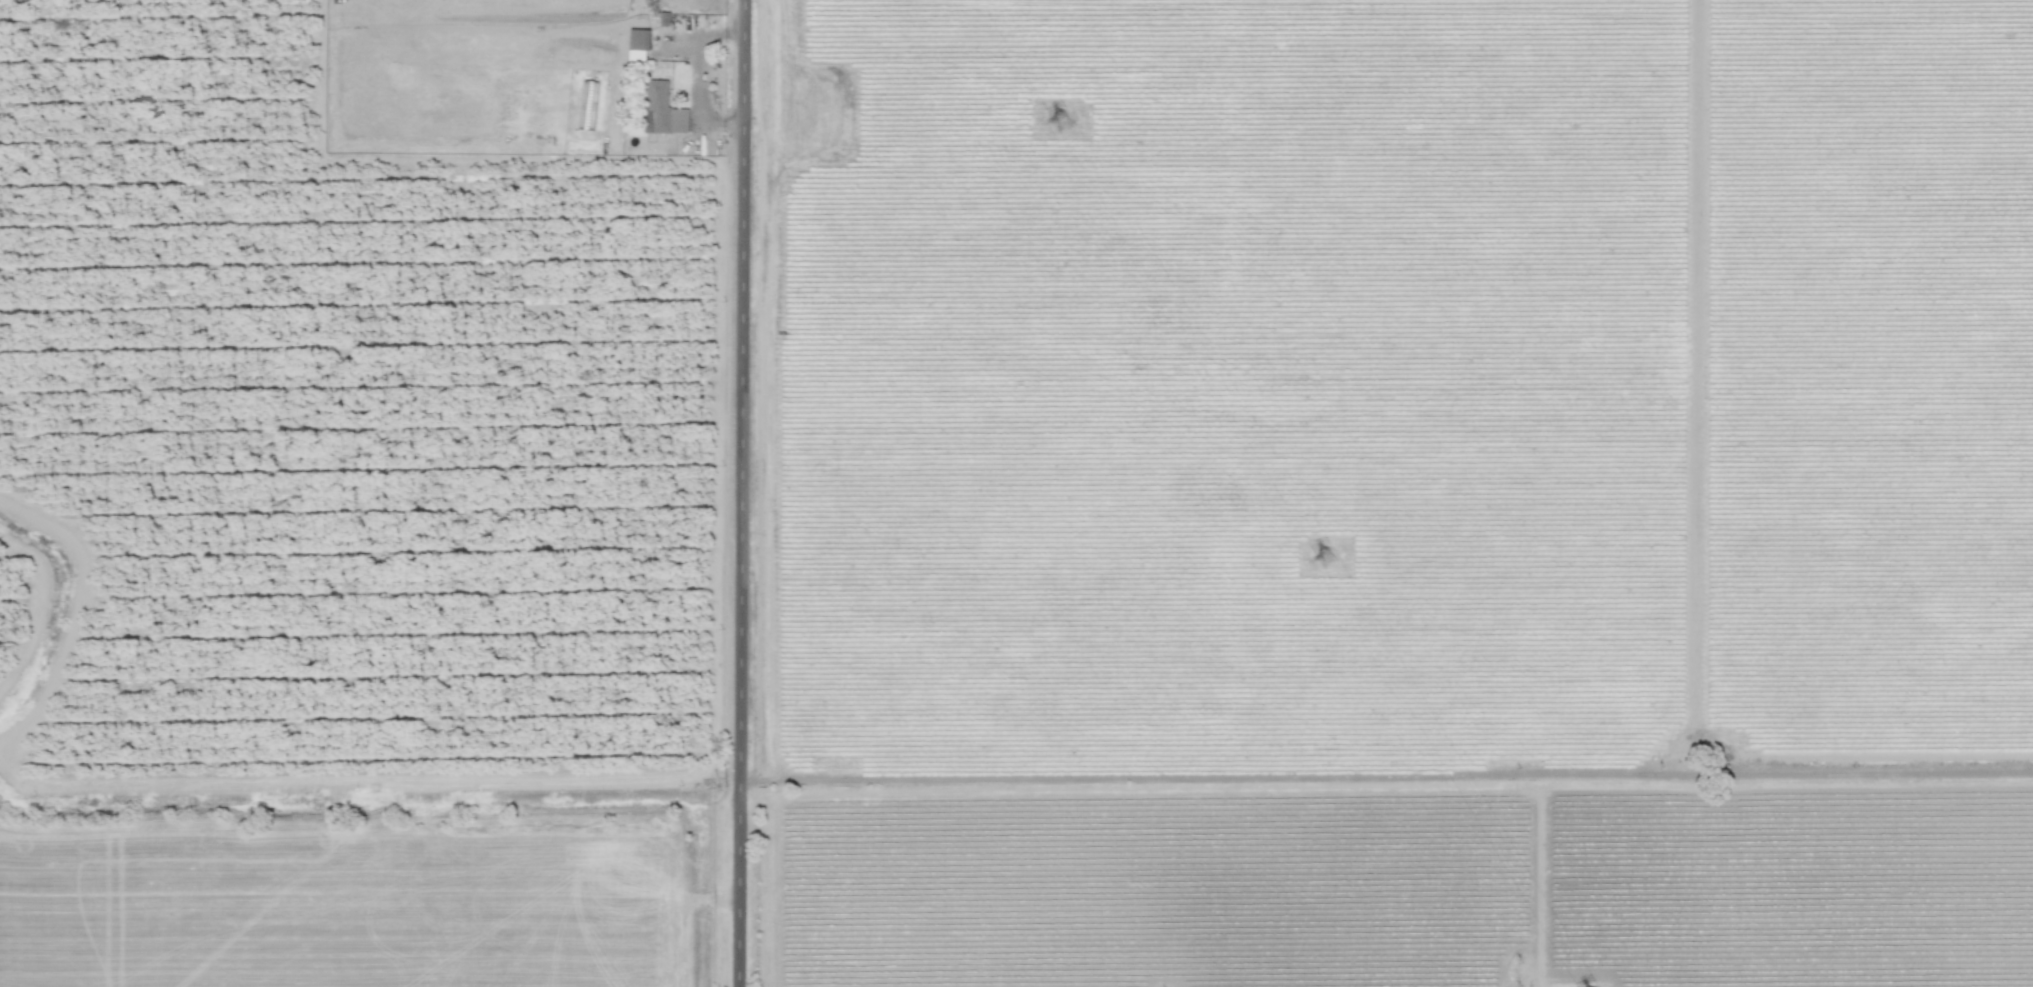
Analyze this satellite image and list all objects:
building: (638, 46)
power tower: (1057, 117)
road: (744, 493)
power tower: (1321, 556)

